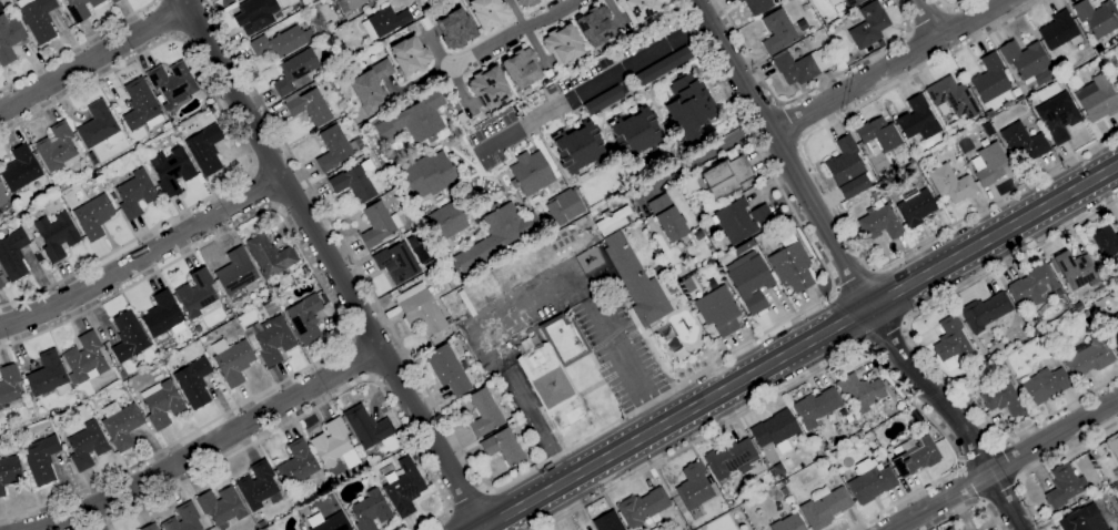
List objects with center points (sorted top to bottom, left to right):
building: (1117, 0)
building: (113, 1)
building: (833, 1)
building: (525, 2)
building: (850, 3)
building: (350, 4)
building: (756, 6)
road: (953, 7)
building: (80, 9)
building: (636, 9)
building: (486, 12)
building: (254, 14)
road: (615, 16)
building: (1097, 17)
building: (37, 18)
road: (169, 18)
road: (927, 18)
road: (927, 20)
building: (384, 22)
building: (836, 22)
building: (594, 26)
building: (868, 26)
building: (455, 28)
building: (1059, 30)
road: (512, 31)
building: (777, 31)
road: (527, 35)
building: (332, 38)
building: (10, 39)
building: (282, 42)
building: (880, 42)
road: (75, 44)
building: (314, 44)
building: (562, 44)
building: (407, 54)
road: (93, 59)
building: (1025, 59)
building: (847, 60)
building: (662, 65)
building: (800, 65)
road: (889, 67)
building: (521, 68)
road: (446, 69)
building: (294, 72)
building: (1116, 77)
building: (989, 79)
road: (417, 80)
road: (87, 82)
building: (1069, 82)
building: (173, 85)
road: (596, 85)
building: (369, 86)
building: (487, 86)
road: (807, 91)
building: (953, 96)
building: (1019, 99)
building: (1096, 99)
building: (603, 100)
building: (141, 105)
building: (1006, 105)
building: (309, 106)
building: (689, 108)
building: (344, 110)
building: (989, 114)
building: (1057, 116)
building: (917, 119)
building: (414, 120)
road: (792, 123)
building: (167, 125)
building: (99, 126)
building: (635, 133)
building: (878, 134)
building: (172, 139)
building: (1023, 142)
building: (577, 146)
building: (57, 147)
building: (335, 147)
building: (205, 149)
road: (705, 152)
building: (92, 157)
building: (910, 161)
building: (989, 164)
building: (20, 169)
building: (847, 169)
building: (171, 170)
building: (531, 173)
building: (429, 175)
building: (724, 177)
building: (354, 182)
building: (950, 183)
building: (62, 184)
road: (262, 187)
building: (135, 193)
building: (3, 202)
road: (193, 204)
building: (563, 206)
road: (835, 206)
building: (915, 208)
building: (93, 216)
building: (667, 217)
building: (741, 220)
building: (447, 221)
building: (611, 221)
building: (879, 222)
building: (377, 224)
building: (56, 235)
building: (698, 235)
building: (497, 236)
building: (393, 241)
building: (1106, 244)
building: (742, 246)
building: (12, 254)
building: (1090, 254)
road: (142, 256)
building: (270, 256)
building: (395, 263)
road: (330, 265)
building: (790, 265)
building: (1075, 269)
road: (849, 271)
building: (235, 272)
road: (854, 277)
building: (1, 281)
building: (636, 282)
building: (751, 283)
building: (727, 286)
building: (1034, 286)
building: (198, 295)
building: (323, 298)
building: (466, 303)
building: (1077, 306)
road: (520, 307)
building: (419, 308)
road: (335, 309)
building: (718, 310)
building: (984, 312)
building: (1085, 314)
building: (163, 315)
building: (304, 318)
building: (1056, 320)
building: (1035, 330)
building: (1112, 330)
road: (888, 335)
building: (128, 336)
building: (270, 339)
building: (953, 339)
road: (915, 344)
road: (798, 348)
building: (1088, 356)
building: (84, 358)
road: (360, 358)
building: (987, 358)
building: (232, 360)
road: (625, 360)
road: (823, 367)
building: (447, 369)
building: (555, 369)
building: (123, 374)
building: (47, 376)
building: (193, 383)
building: (9, 384)
building: (1045, 385)
building: (1019, 390)
building: (860, 391)
building: (1001, 396)
building: (161, 402)
building: (0, 407)
road: (311, 407)
building: (816, 407)
building: (383, 411)
building: (484, 414)
building: (915, 414)
road: (540, 422)
building: (121, 424)
building: (775, 430)
building: (369, 431)
building: (351, 438)
building: (1112, 444)
building: (85, 445)
building: (333, 445)
building: (63, 446)
road: (204, 446)
building: (502, 446)
road: (563, 452)
road: (979, 452)
building: (915, 456)
building: (731, 458)
building: (41, 459)
road: (1011, 462)
building: (296, 463)
road: (1003, 463)
road: (1045, 463)
building: (9, 472)
building: (785, 481)
building: (869, 481)
road: (969, 482)
building: (727, 483)
building: (259, 486)
building: (1062, 486)
building: (404, 488)
building: (694, 489)
building: (783, 491)
road: (1000, 492)
road: (465, 501)
building: (296, 502)
building: (731, 503)
building: (824, 506)
building: (221, 507)
building: (642, 507)
road: (968, 507)
building: (370, 510)
building: (183, 519)
building: (1082, 519)
building: (606, 521)
building: (332, 522)
building: (260, 523)
building: (787, 523)
building: (150, 527)
building: (300, 527)
building: (270, 528)
building: (953, 528)
building: (655, 529)
building: (1109, 529)

